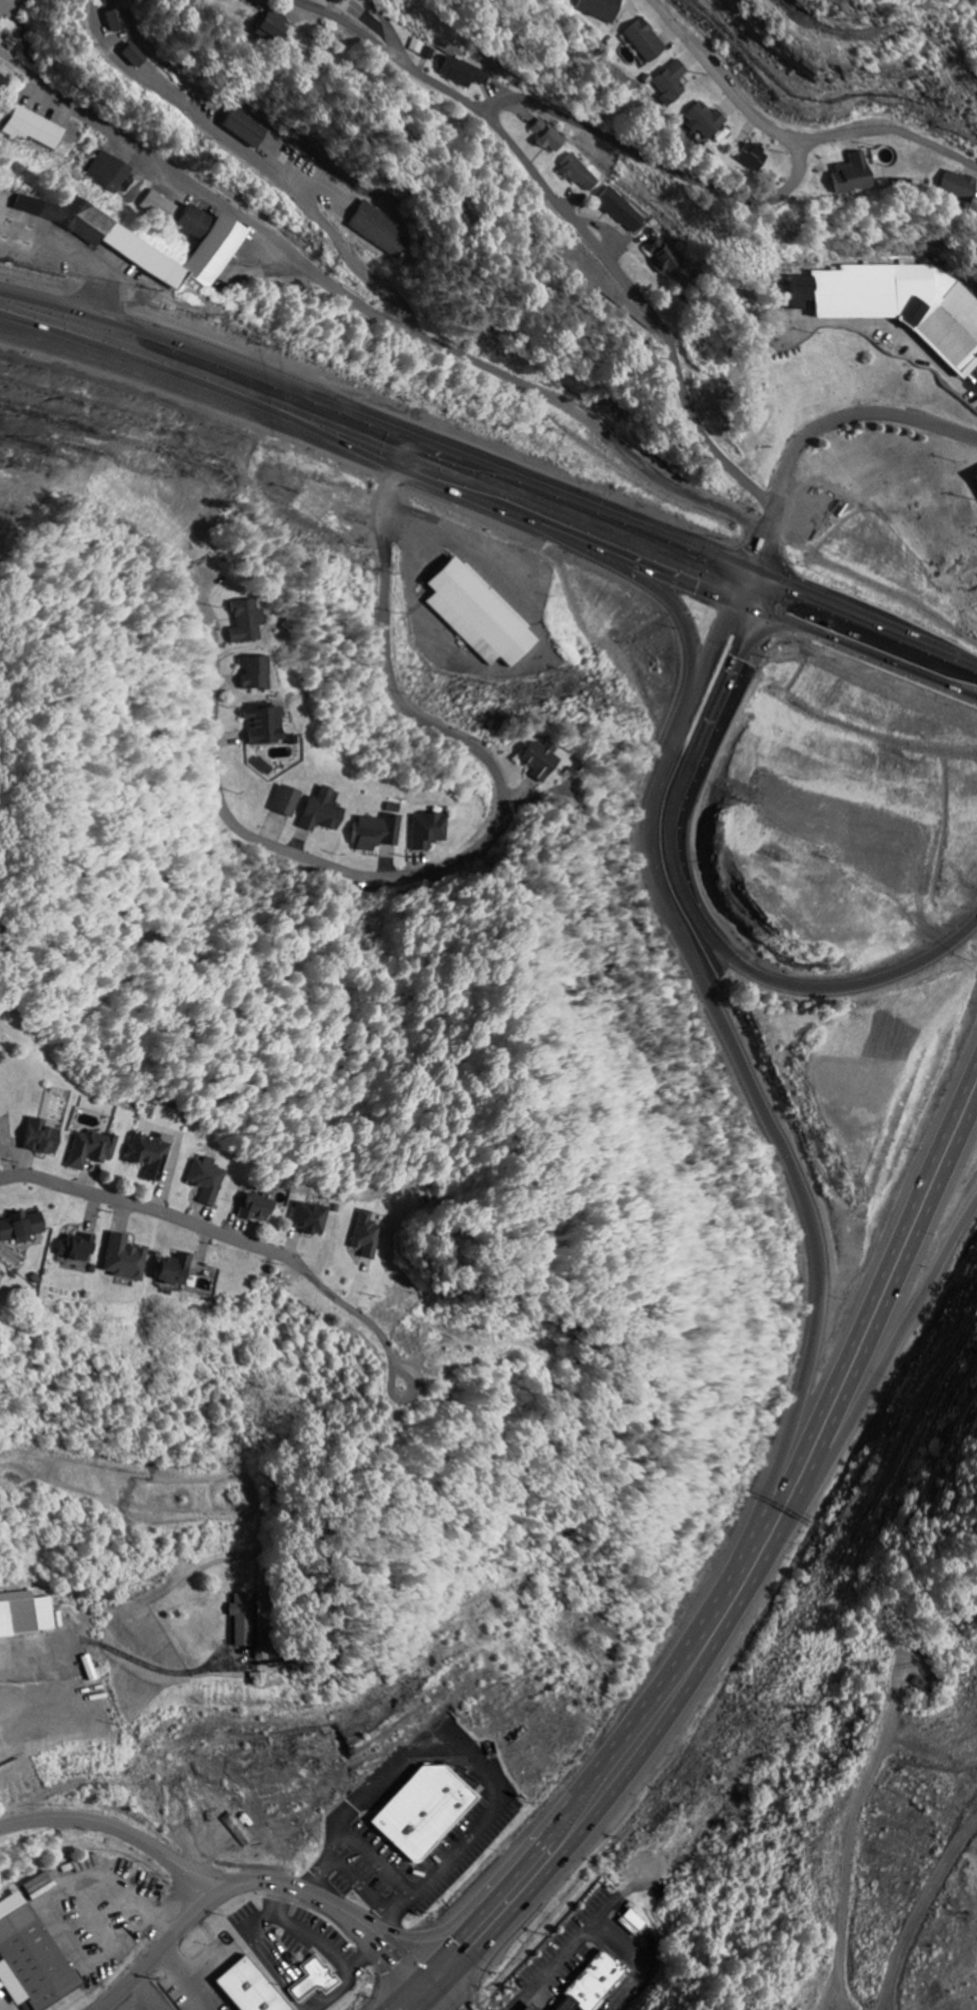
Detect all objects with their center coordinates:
building: (337, 1)
building: (8, 8)
building: (601, 9)
building: (117, 21)
building: (274, 27)
building: (646, 41)
building: (430, 54)
building: (135, 57)
building: (465, 74)
building: (3, 82)
building: (672, 82)
building: (706, 121)
building: (34, 129)
building: (245, 129)
building: (547, 137)
building: (753, 158)
building: (109, 173)
building: (580, 175)
building: (853, 176)
building: (959, 187)
road: (738, 197)
building: (162, 207)
building: (622, 211)
road: (570, 216)
building: (105, 237)
building: (211, 245)
building: (668, 261)
building: (898, 305)
road: (370, 313)
road: (193, 338)
road: (823, 425)
road: (570, 487)
road: (570, 505)
road: (762, 577)
road: (659, 592)
road: (868, 612)
building: (480, 616)
building: (247, 623)
road: (870, 635)
building: (256, 675)
building: (265, 725)
building: (541, 762)
building: (263, 767)
building: (287, 803)
building: (323, 813)
building: (429, 832)
building: (377, 834)
road: (482, 846)
road: (689, 905)
road: (735, 1043)
building: (42, 1138)
building: (92, 1149)
building: (151, 1155)
building: (207, 1180)
building: (257, 1208)
road: (153, 1209)
building: (311, 1219)
building: (22, 1227)
building: (368, 1236)
building: (78, 1248)
building: (125, 1259)
building: (175, 1270)
road: (869, 1296)
road: (887, 1317)
road: (886, 1361)
building: (26, 1615)
building: (244, 1620)
road: (628, 1782)
road: (588, 1784)
building: (422, 1809)
road: (115, 1829)
road: (349, 1910)
road: (155, 1954)
building: (30, 1958)
building: (315, 1980)
building: (248, 1987)
building: (564, 2002)
gas station: (564, 2002)
building: (529, 2006)
gas station: (529, 2006)

